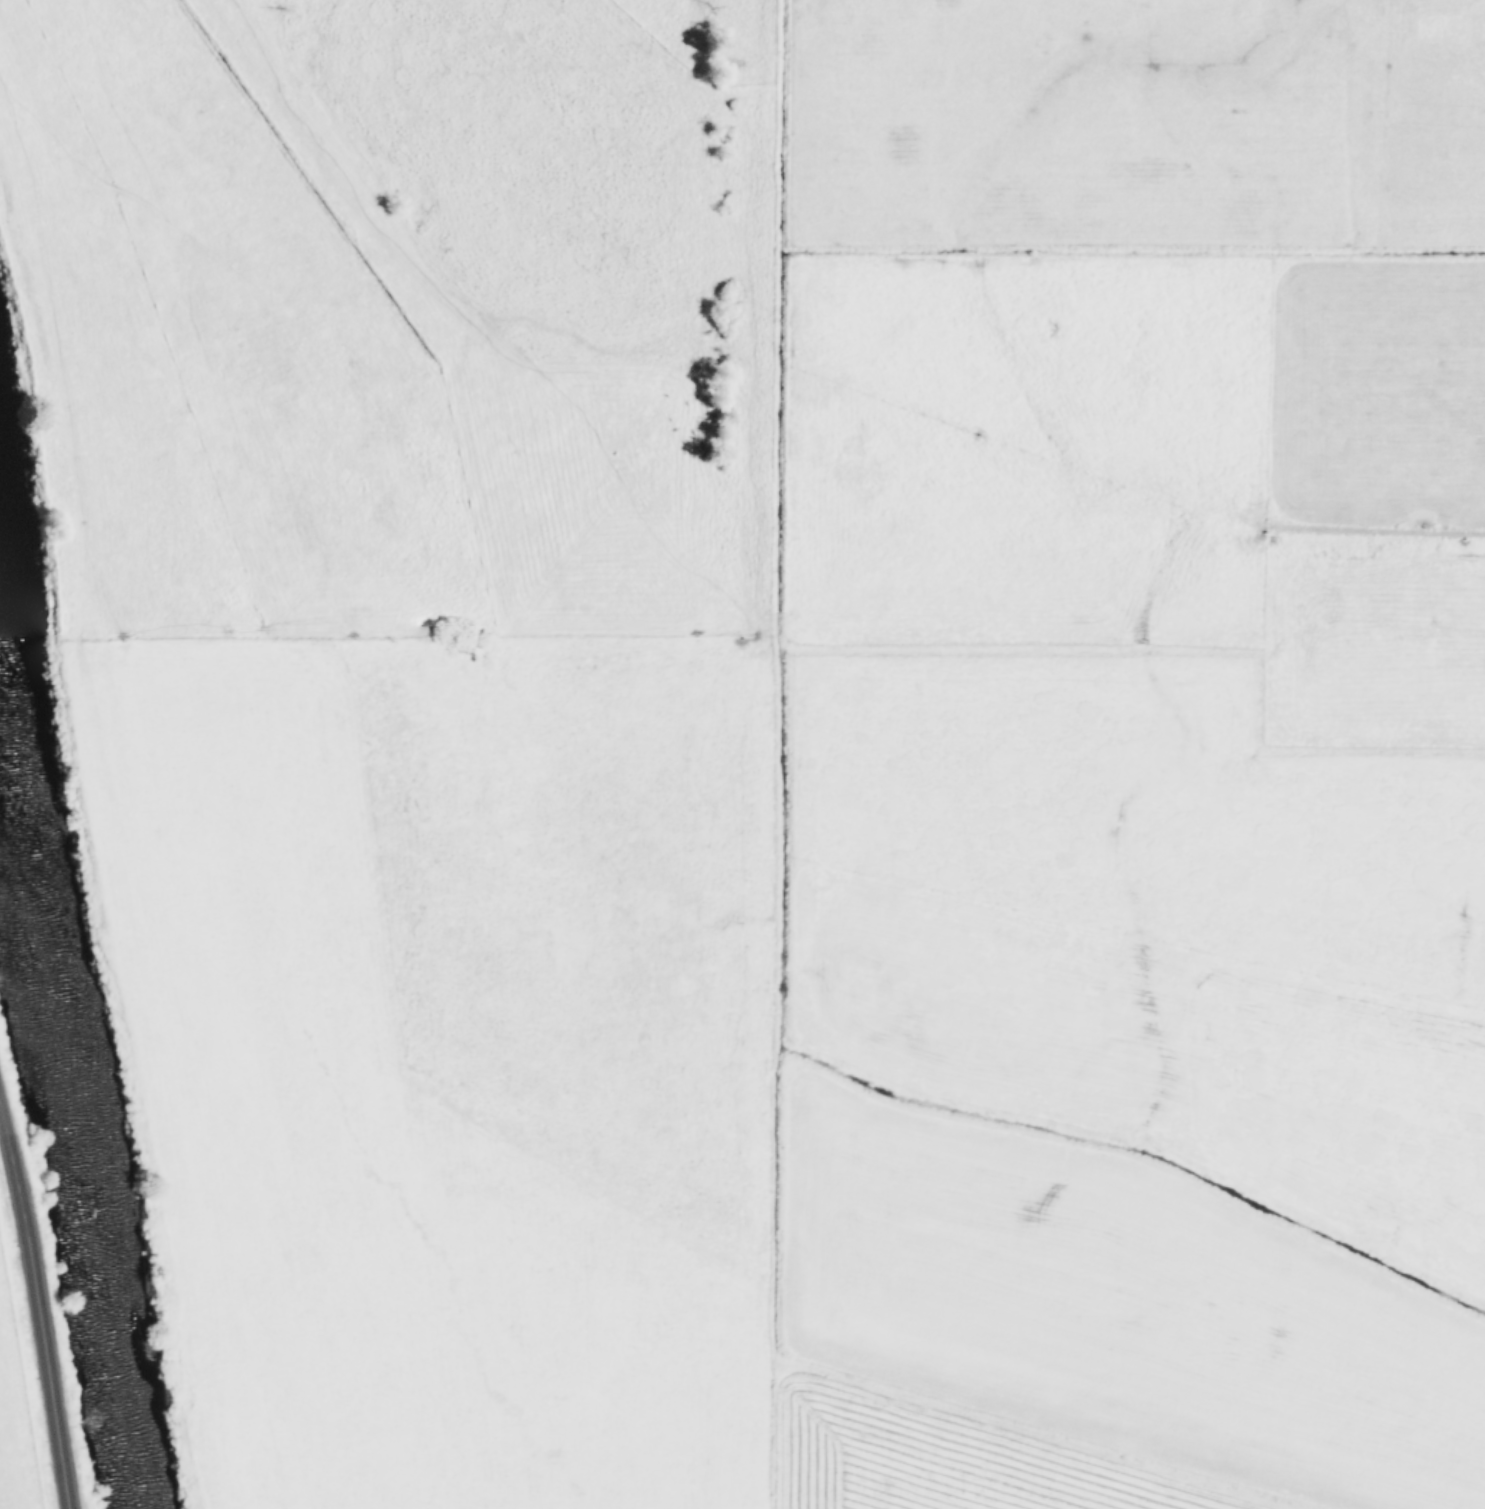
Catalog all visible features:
crop: (791, 734)
river: (76, 1022)
road: (39, 1312)
crop: (17, 1421)

